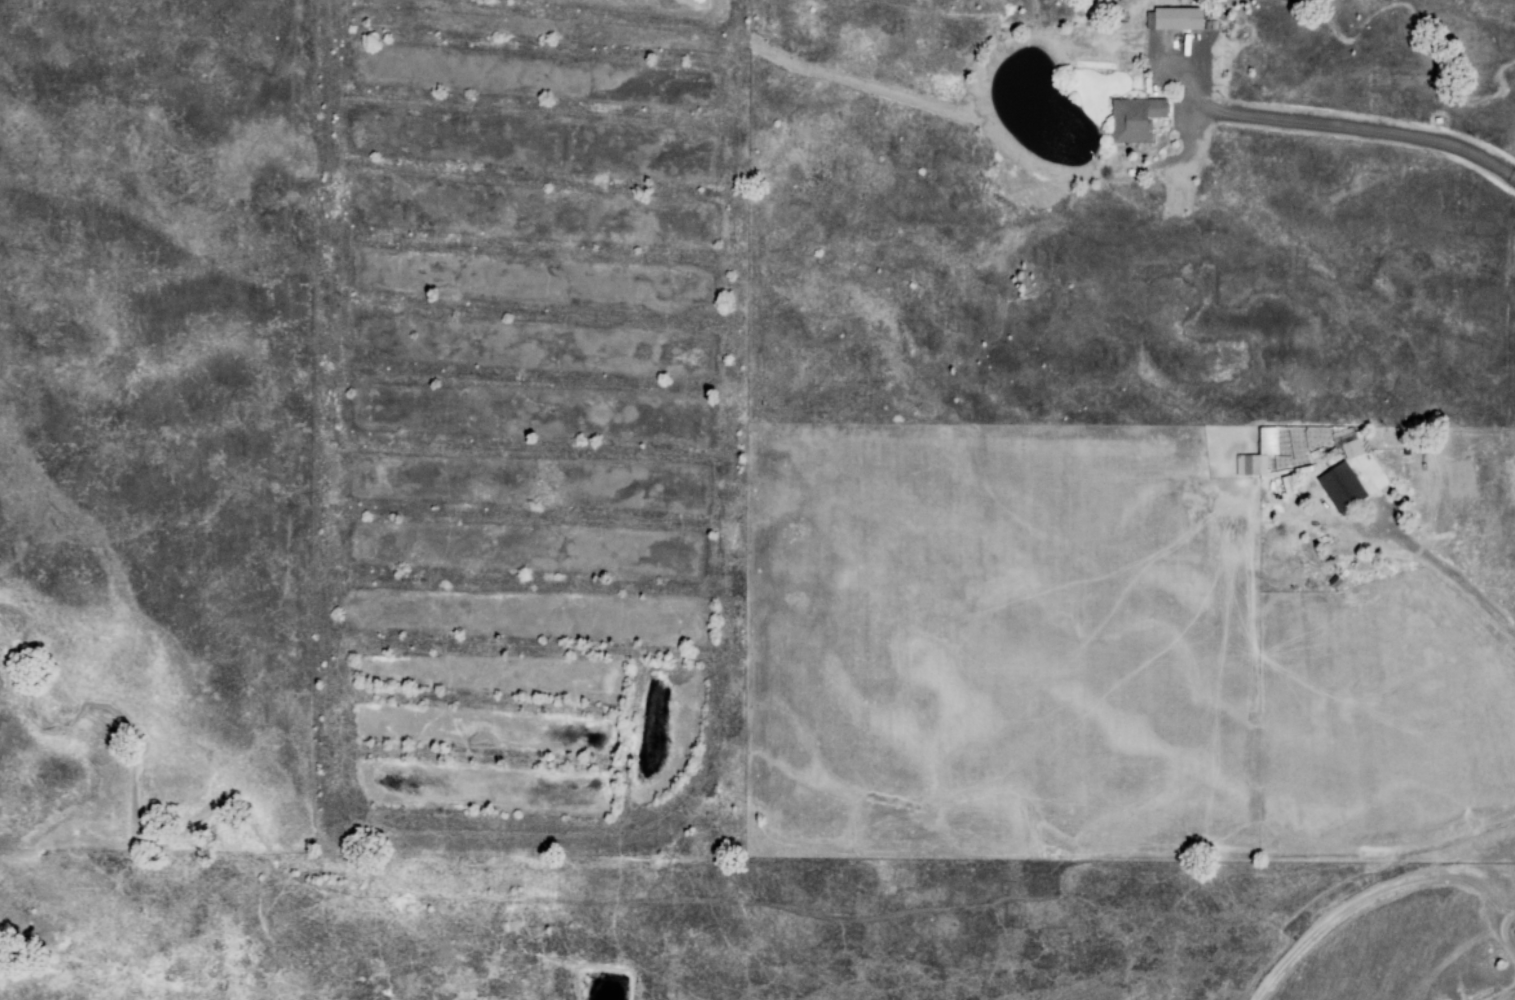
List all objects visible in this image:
building: (1175, 19)
building: (1135, 119)
road: (744, 234)
building: (1257, 455)
building: (1343, 475)
road: (326, 572)
road: (1452, 574)
building: (1334, 582)
road: (1497, 920)
road: (1495, 988)

